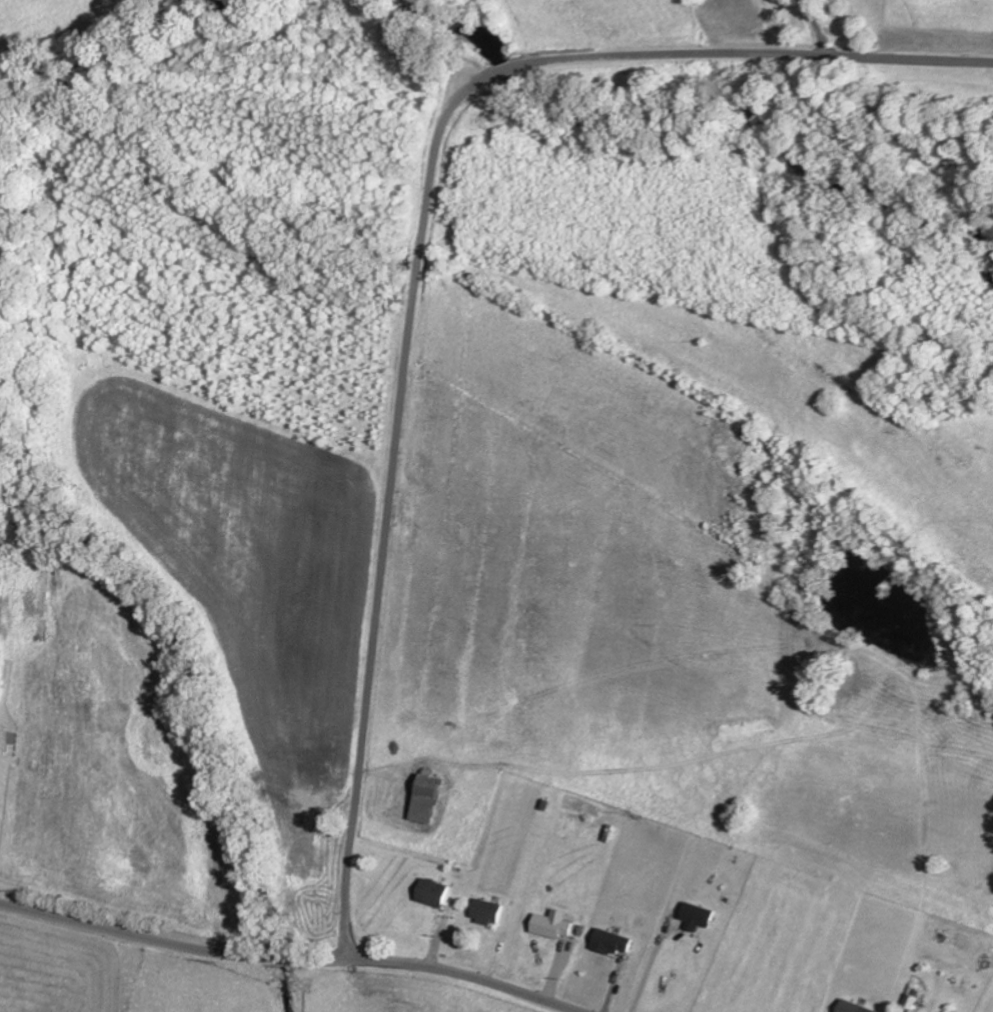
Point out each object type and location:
road: (846, 57)
road: (400, 402)
building: (435, 892)
building: (490, 911)
building: (700, 916)
building: (557, 924)
building: (614, 941)
road: (195, 949)
road: (489, 982)
building: (852, 1007)

